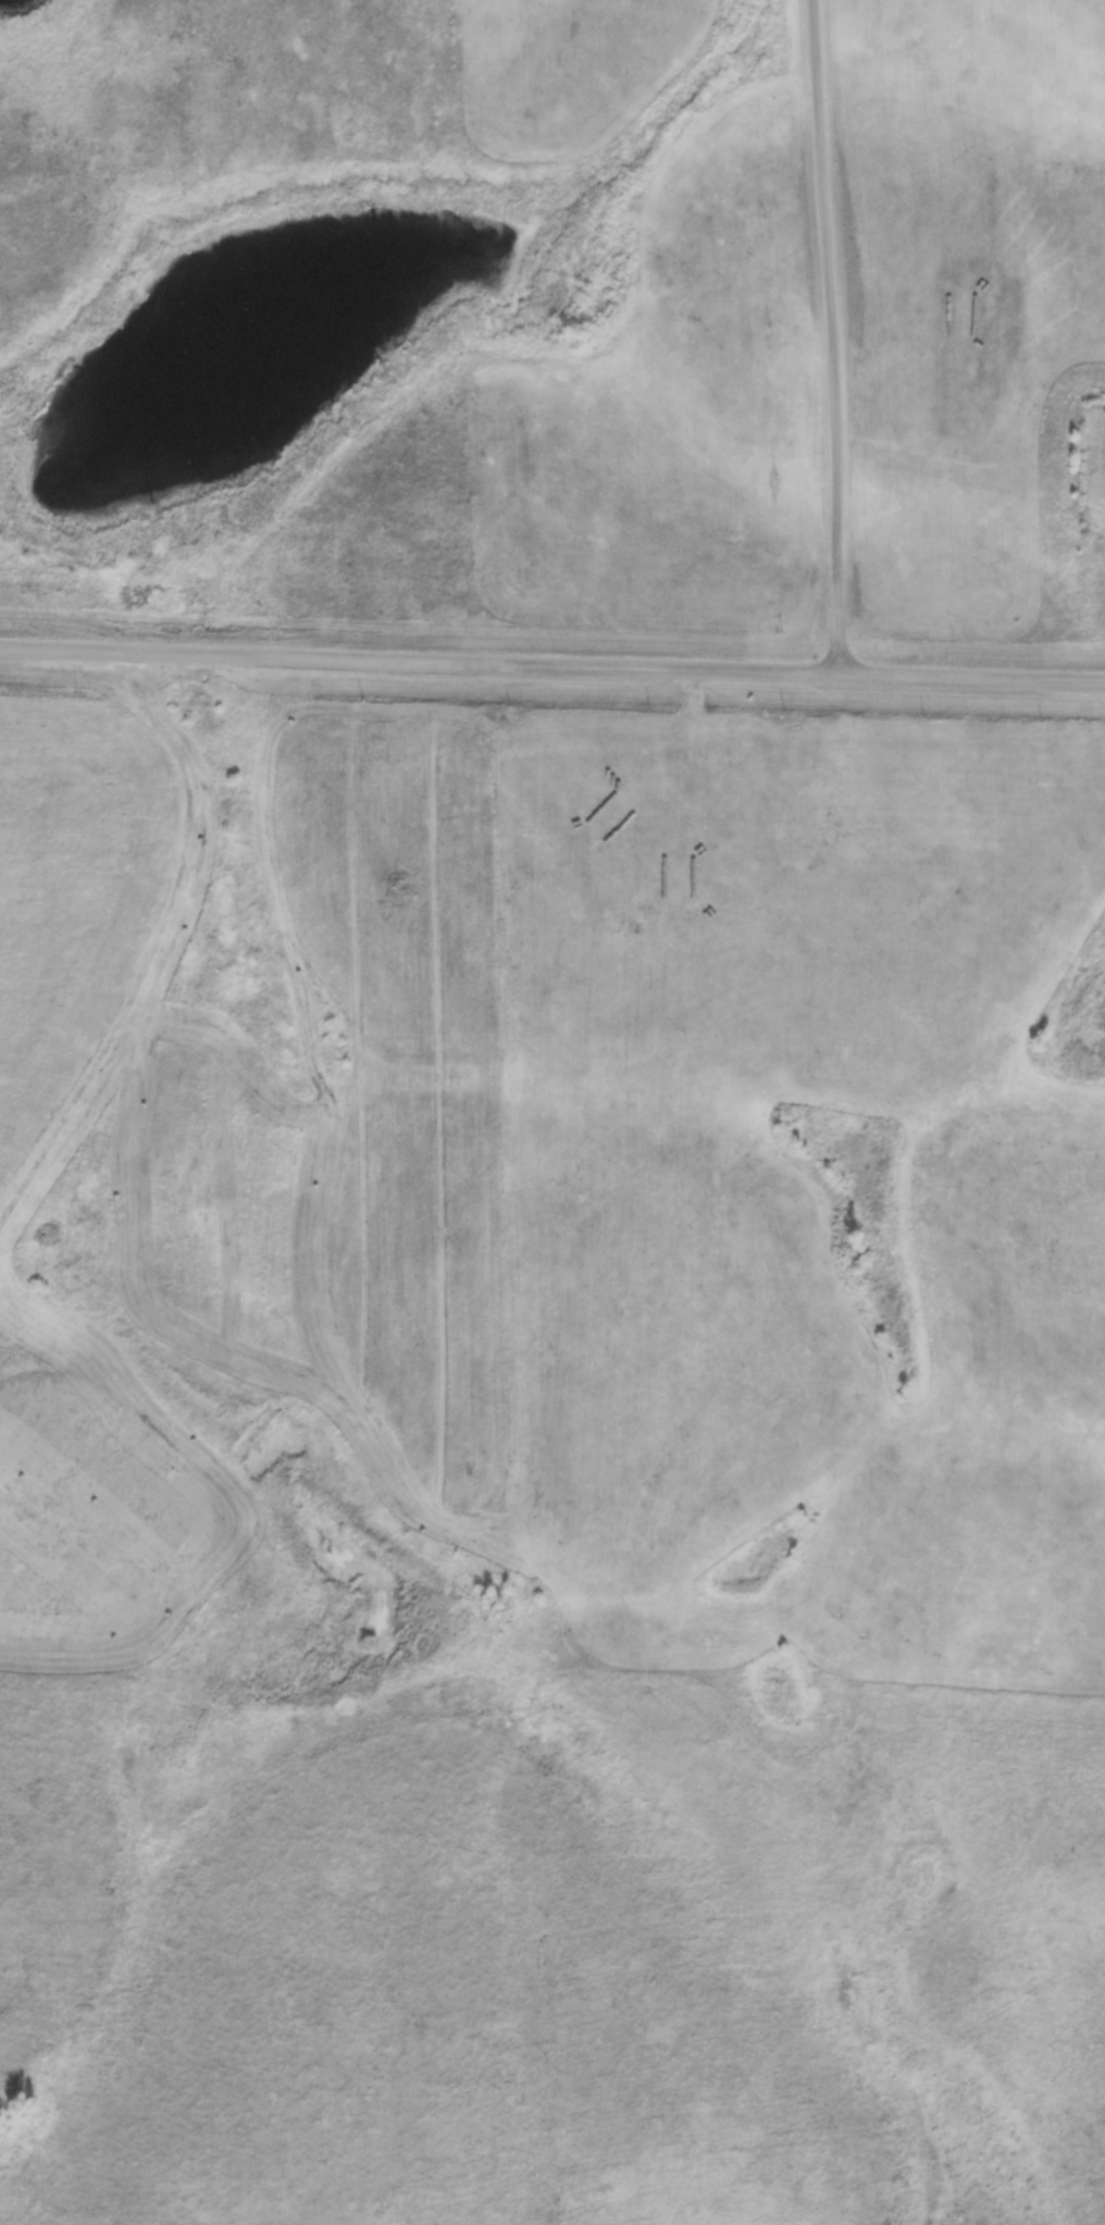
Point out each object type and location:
river: (332, 311)
road: (841, 338)
road: (551, 670)

